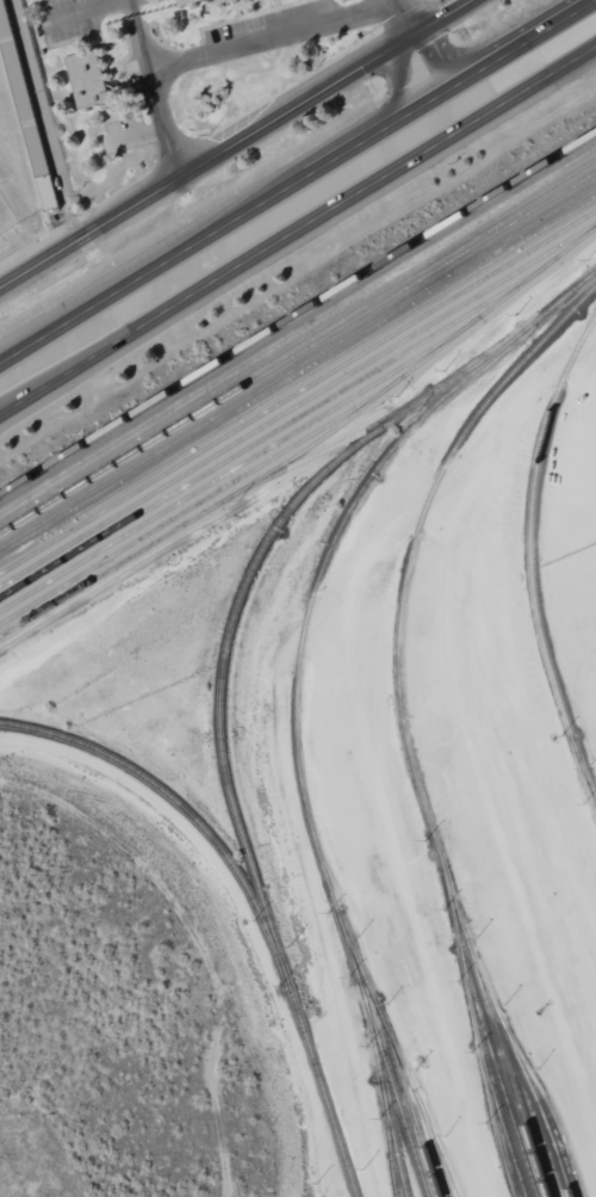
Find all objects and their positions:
building: (224, 1)
building: (191, 2)
road: (402, 19)
road: (271, 33)
road: (441, 56)
building: (89, 80)
road: (399, 85)
road: (155, 88)
road: (235, 143)
road: (297, 183)
building: (50, 195)
building: (2, 227)
road: (297, 228)
railway: (298, 314)
railway: (298, 328)
railway: (298, 340)
railway: (297, 353)
railway: (298, 369)
railway: (297, 377)
railway: (297, 390)
railway: (298, 403)
railway: (271, 432)
railway: (308, 446)
railway: (328, 449)
railway: (249, 458)
railway: (195, 502)
railway: (411, 551)
railway: (329, 553)
railway: (532, 555)
road: (281, 710)
railway: (221, 715)
railway: (586, 780)
railway: (176, 802)
road: (240, 905)
railway: (509, 1034)
railway: (478, 1035)
railway: (404, 1065)
railway: (386, 1066)
railway: (509, 1072)
railway: (502, 1086)
railway: (386, 1100)
railway: (410, 1105)
railway: (551, 1107)
railway: (504, 1130)
railway: (390, 1144)
railway: (436, 1152)

